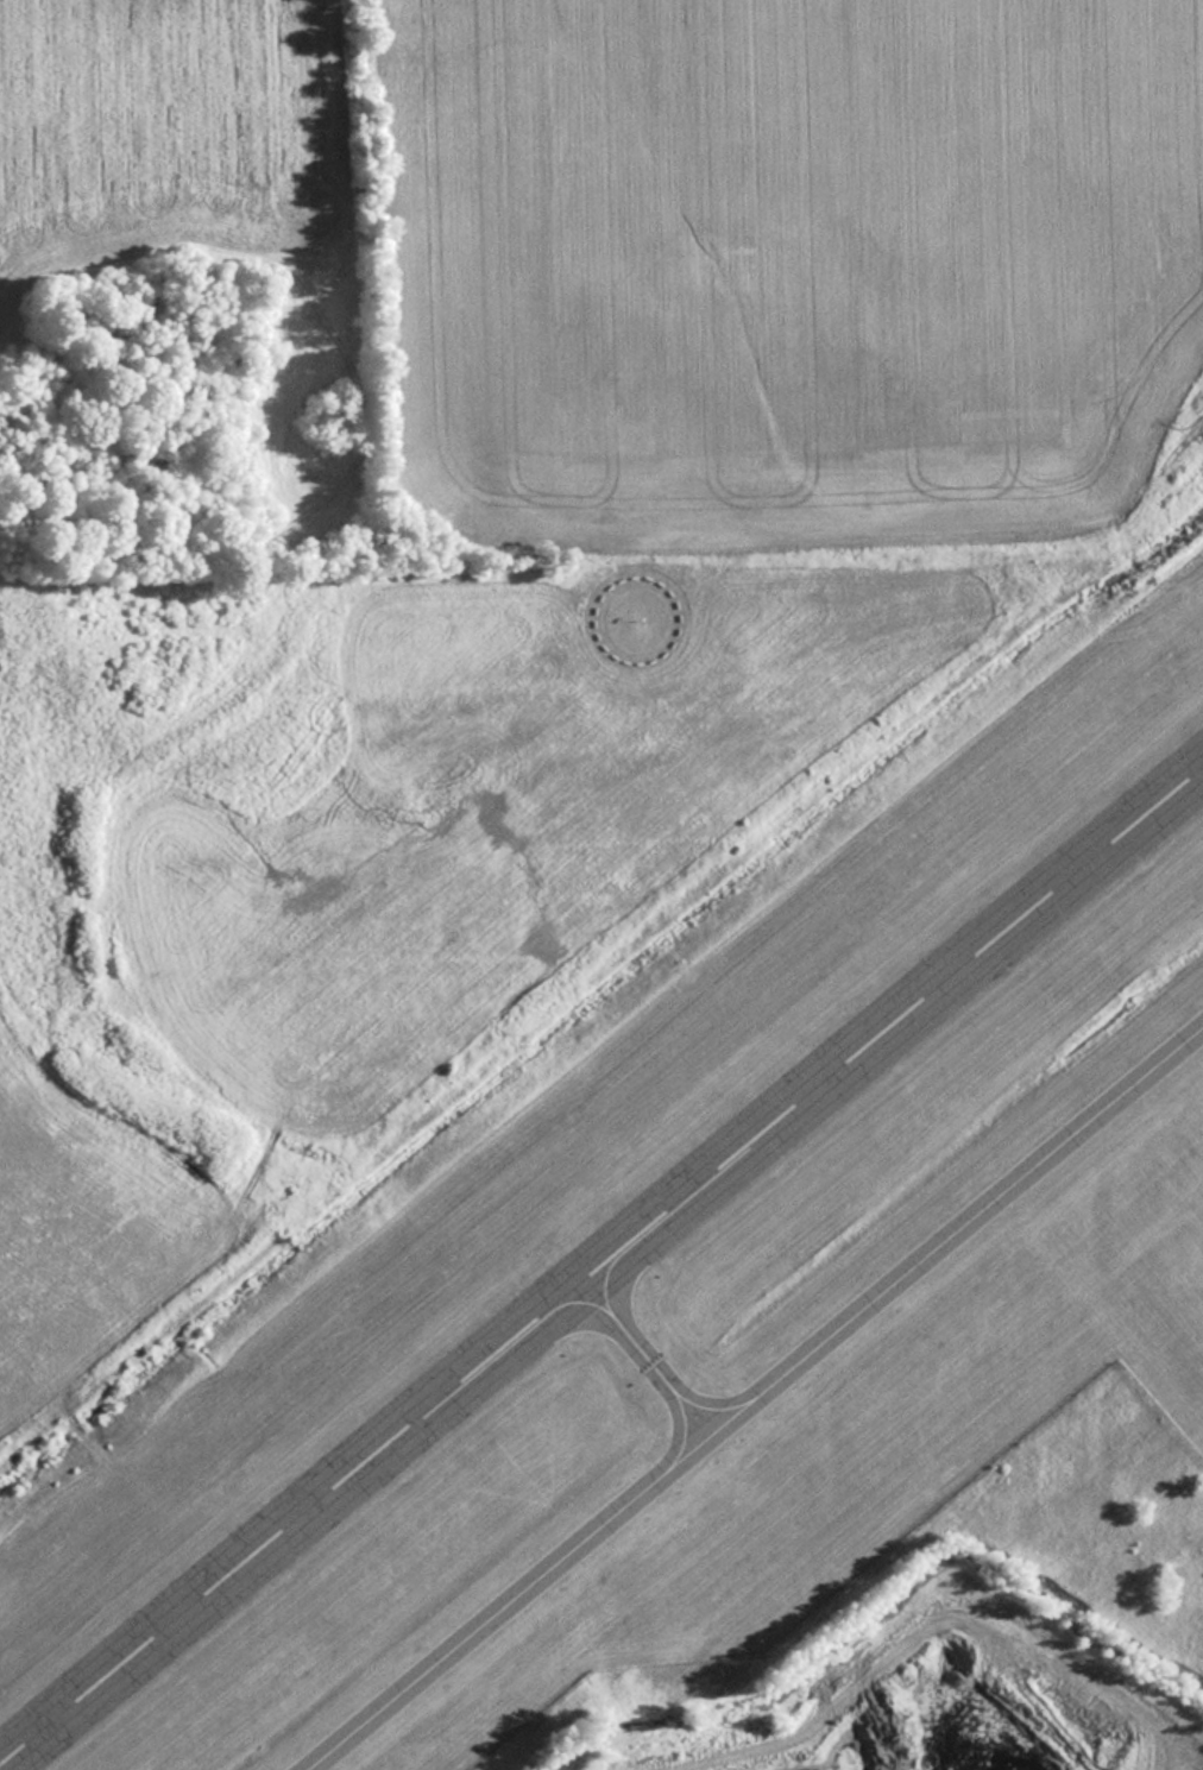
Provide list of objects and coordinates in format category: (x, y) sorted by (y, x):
airport runway: (600, 1253)
airport taxiway: (642, 1350)
airport taxiway: (748, 1393)

